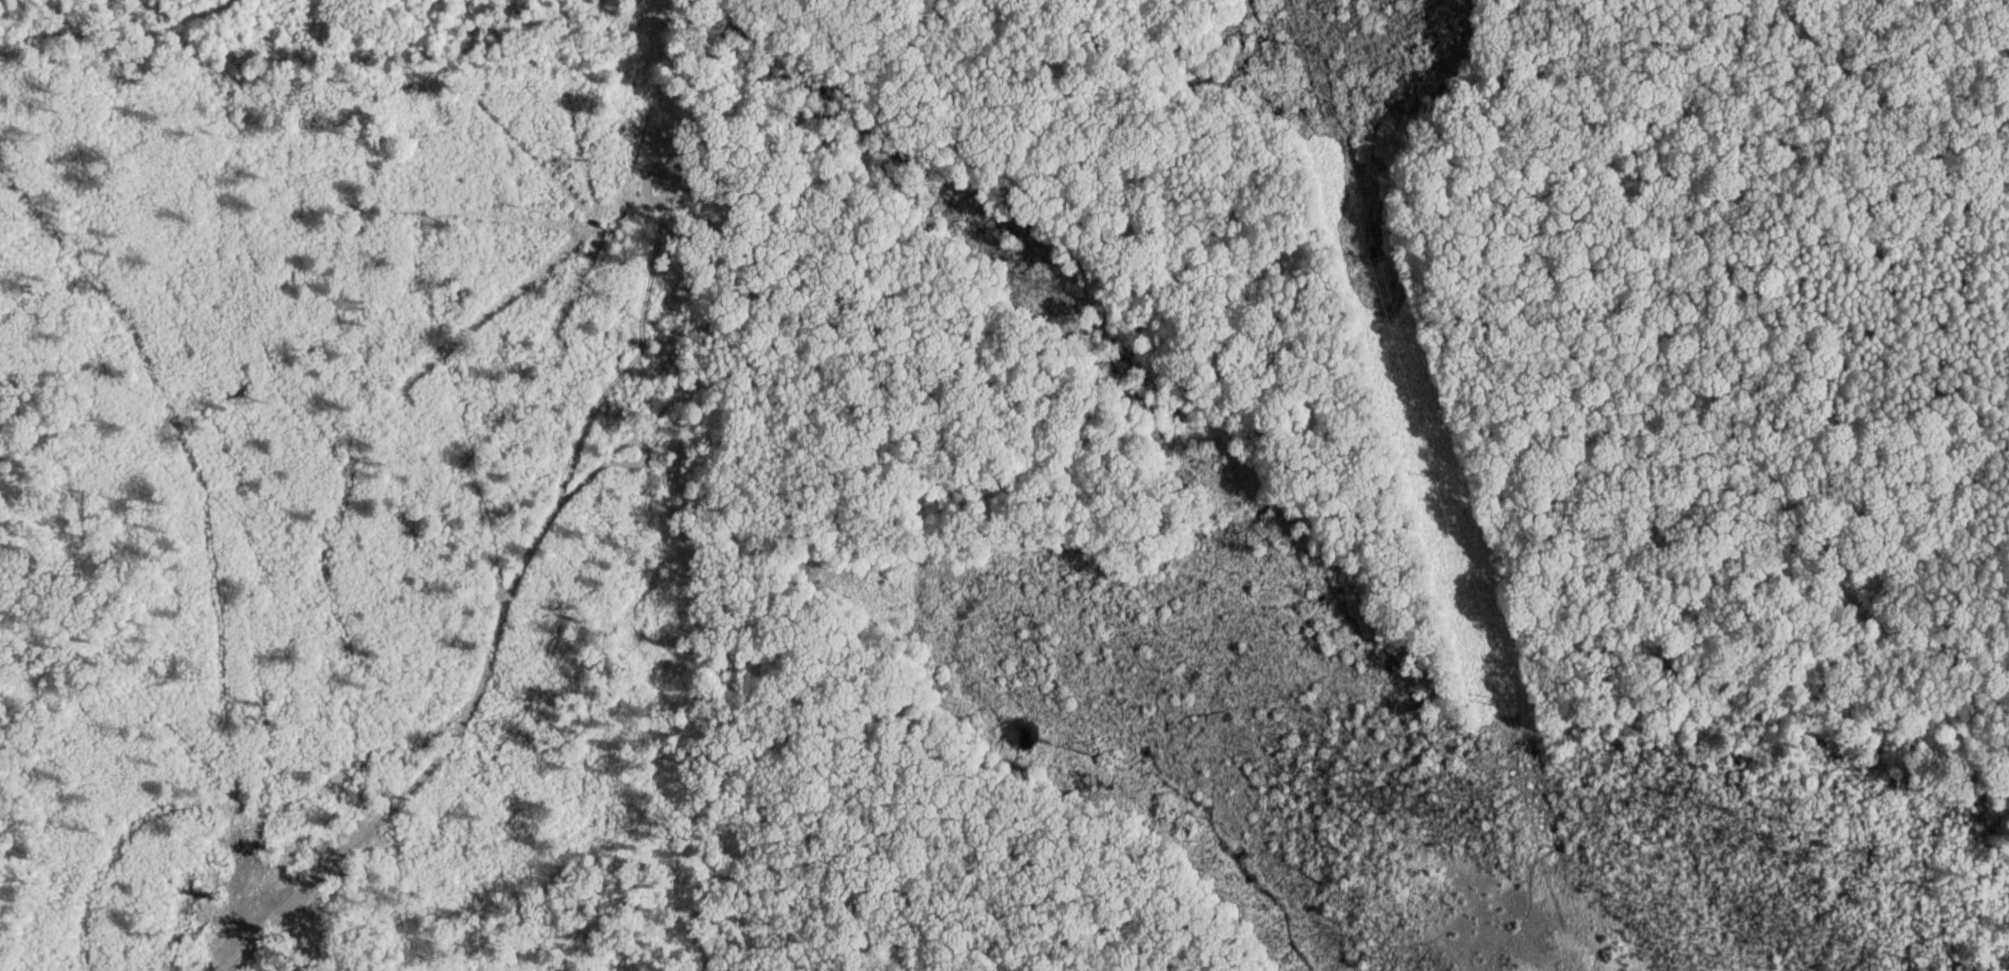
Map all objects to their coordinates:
road: (118, 29)
road: (592, 465)
road: (770, 943)

